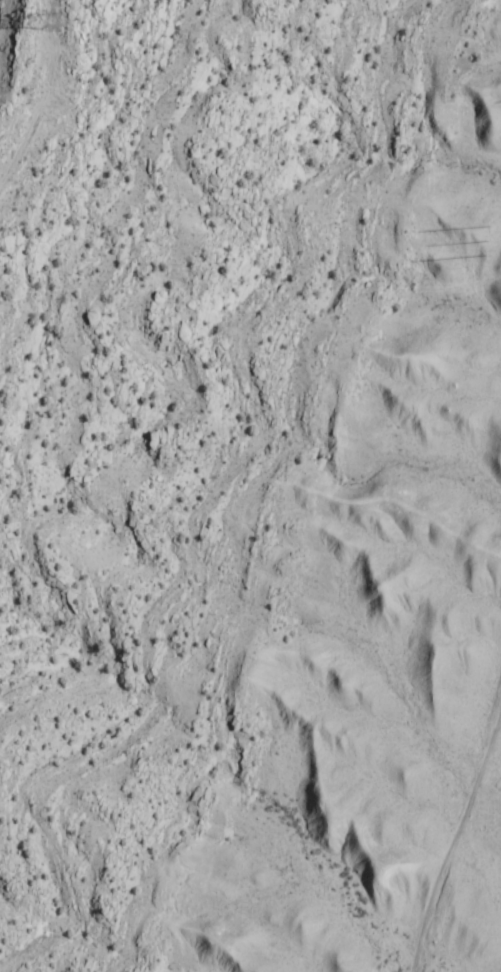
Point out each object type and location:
power tower: (53, 17)
power tower: (1, 87)
power tower: (489, 234)
road: (423, 748)

